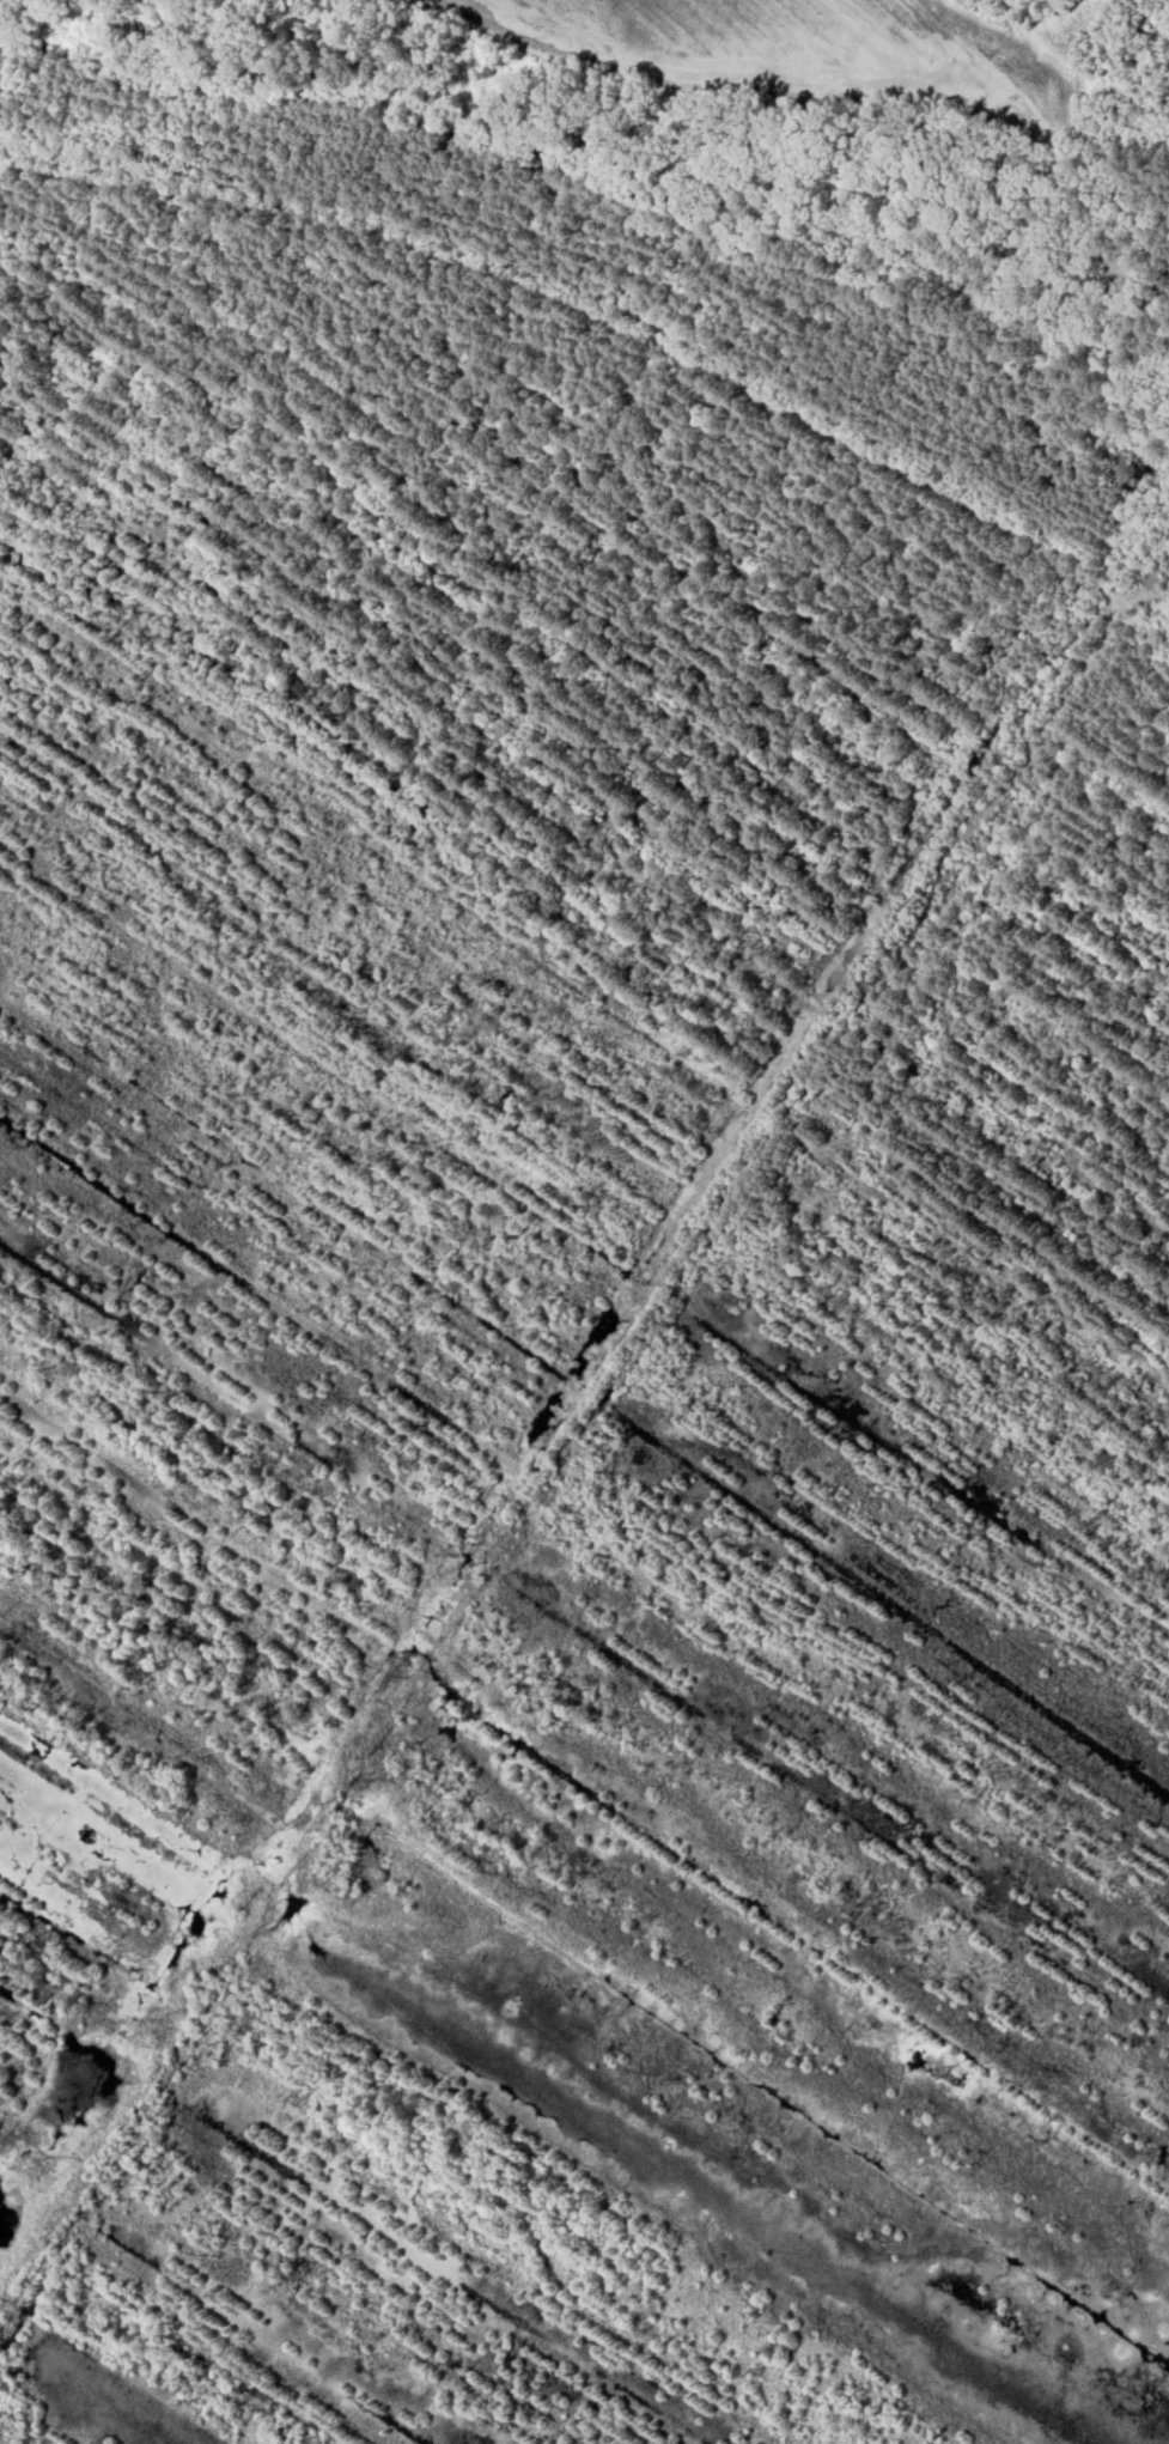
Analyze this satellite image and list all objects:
road: (964, 22)
building: (1162, 534)

